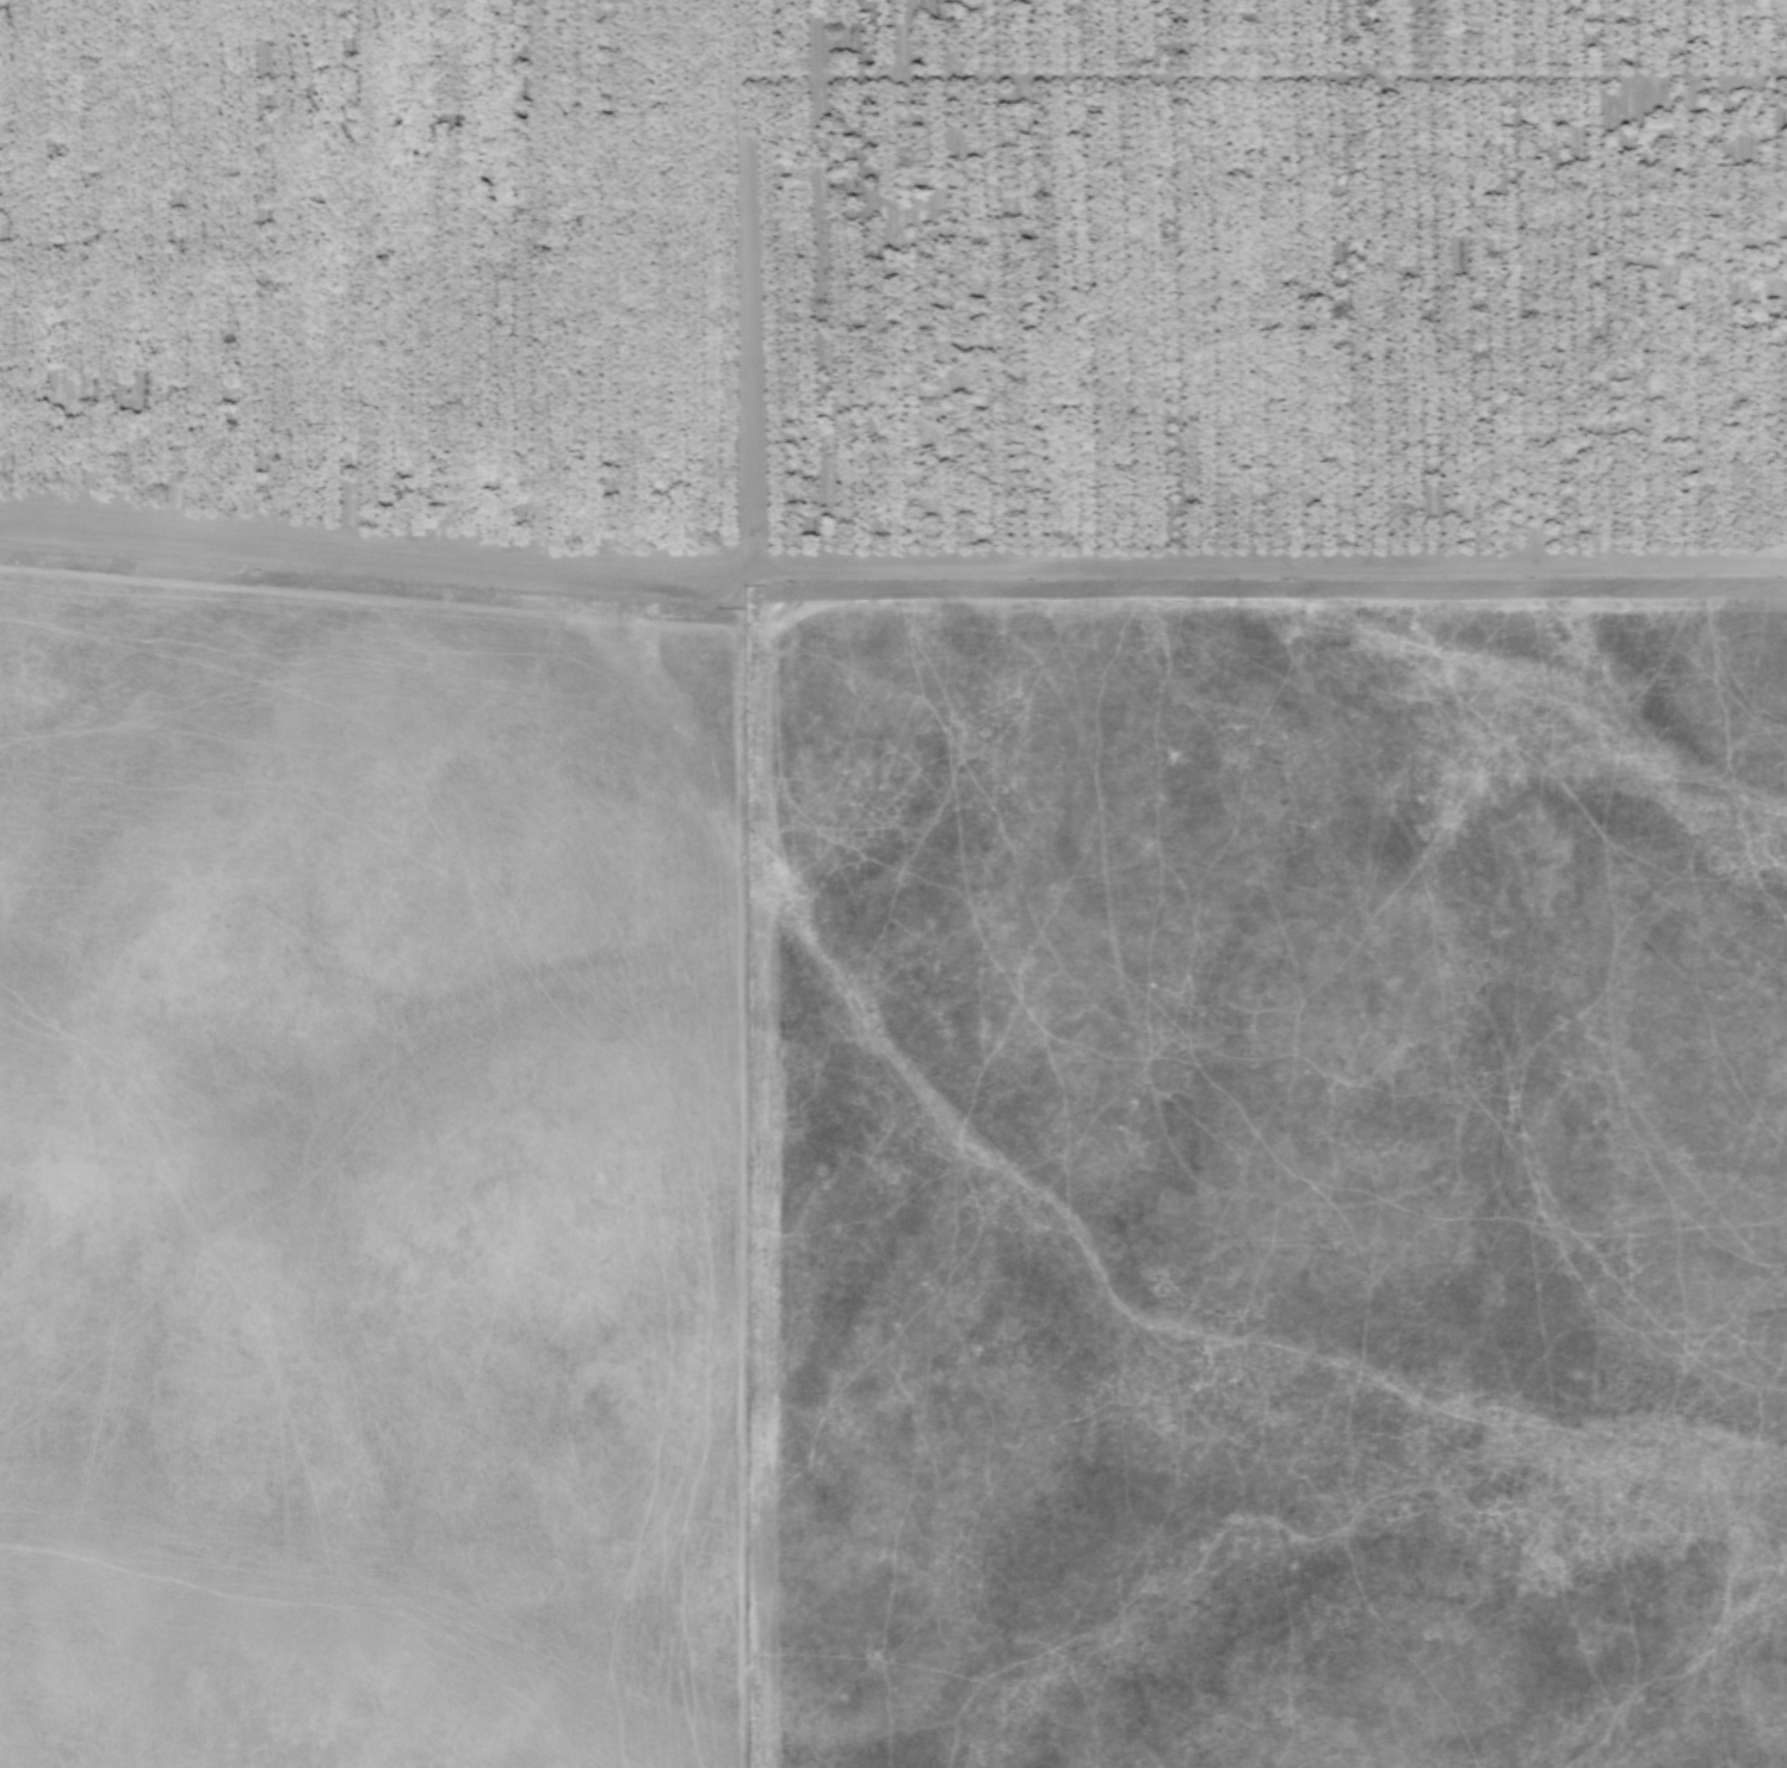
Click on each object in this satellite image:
road: (1022, 75)
road: (373, 543)
road: (1268, 562)
road: (750, 585)
road: (1316, 594)
road: (758, 611)

